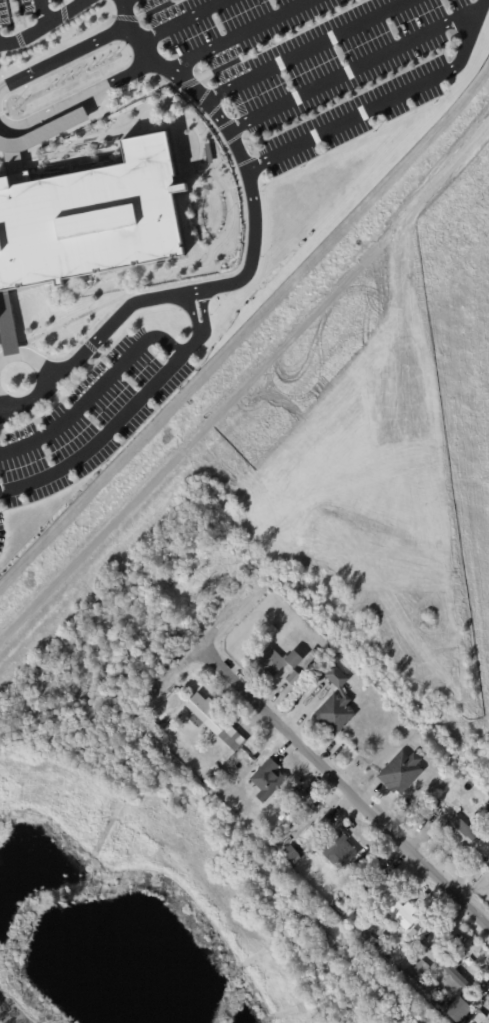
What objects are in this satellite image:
road: (84, 1)
road: (42, 12)
parking lot: (33, 18)
road: (183, 21)
road: (44, 24)
road: (243, 35)
road: (306, 49)
road: (65, 56)
parking lot: (322, 62)
road: (351, 70)
road: (76, 96)
road: (384, 102)
building: (37, 137)
building: (88, 217)
road: (251, 258)
road: (206, 311)
road: (191, 312)
road: (29, 354)
road: (246, 384)
road: (95, 390)
road: (3, 404)
parking lot: (92, 416)
road: (109, 427)
parking lot: (2, 528)
building: (221, 561)
building: (272, 628)
road: (201, 641)
building: (314, 651)
building: (277, 658)
building: (292, 676)
building: (335, 703)
building: (206, 713)
building: (164, 726)
building: (400, 770)
building: (210, 773)
building: (267, 778)
road: (343, 788)
building: (488, 805)
building: (323, 824)
building: (463, 829)
building: (338, 847)
building: (290, 851)
building: (372, 885)
building: (396, 911)
building: (432, 936)
building: (421, 966)
building: (452, 973)
building: (403, 974)
building: (458, 1009)
building: (488, 1011)
building: (488, 1013)
building: (476, 1017)

